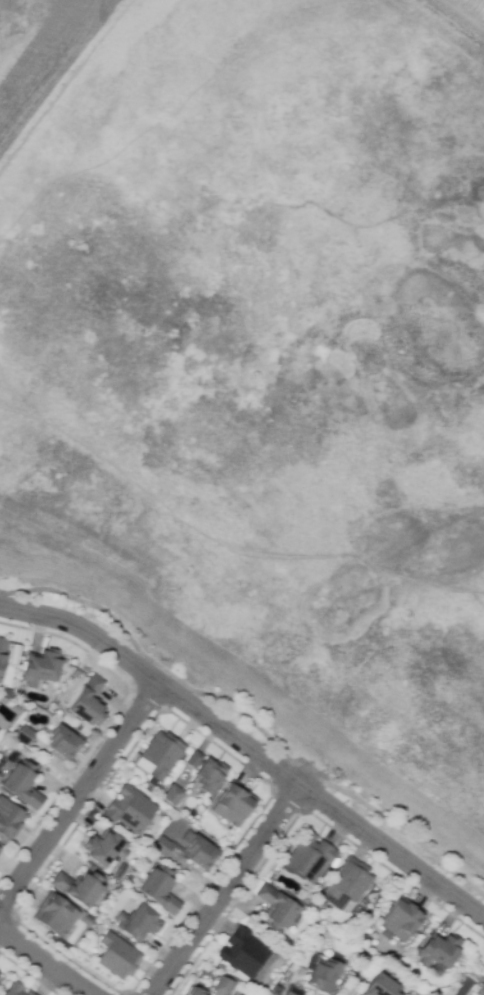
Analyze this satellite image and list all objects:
airport: (30, 42)
building: (2, 652)
building: (15, 654)
road: (151, 661)
building: (41, 668)
building: (88, 702)
building: (25, 735)
building: (63, 742)
road: (249, 749)
building: (161, 754)
building: (193, 758)
road: (307, 771)
building: (210, 775)
building: (22, 785)
road: (79, 793)
building: (173, 795)
building: (233, 804)
building: (130, 810)
building: (9, 820)
road: (405, 831)
building: (163, 847)
building: (104, 848)
building: (0, 850)
building: (201, 853)
building: (309, 857)
building: (348, 882)
building: (78, 887)
building: (159, 890)
road: (224, 890)
building: (276, 909)
building: (55, 914)
building: (401, 918)
building: (139, 923)
building: (439, 948)
building: (244, 953)
building: (118, 956)
road: (50, 960)
building: (323, 976)
building: (223, 986)
building: (380, 986)
building: (14, 989)
building: (481, 989)
building: (293, 991)
building: (196, 992)
building: (28, 993)
building: (238, 994)

